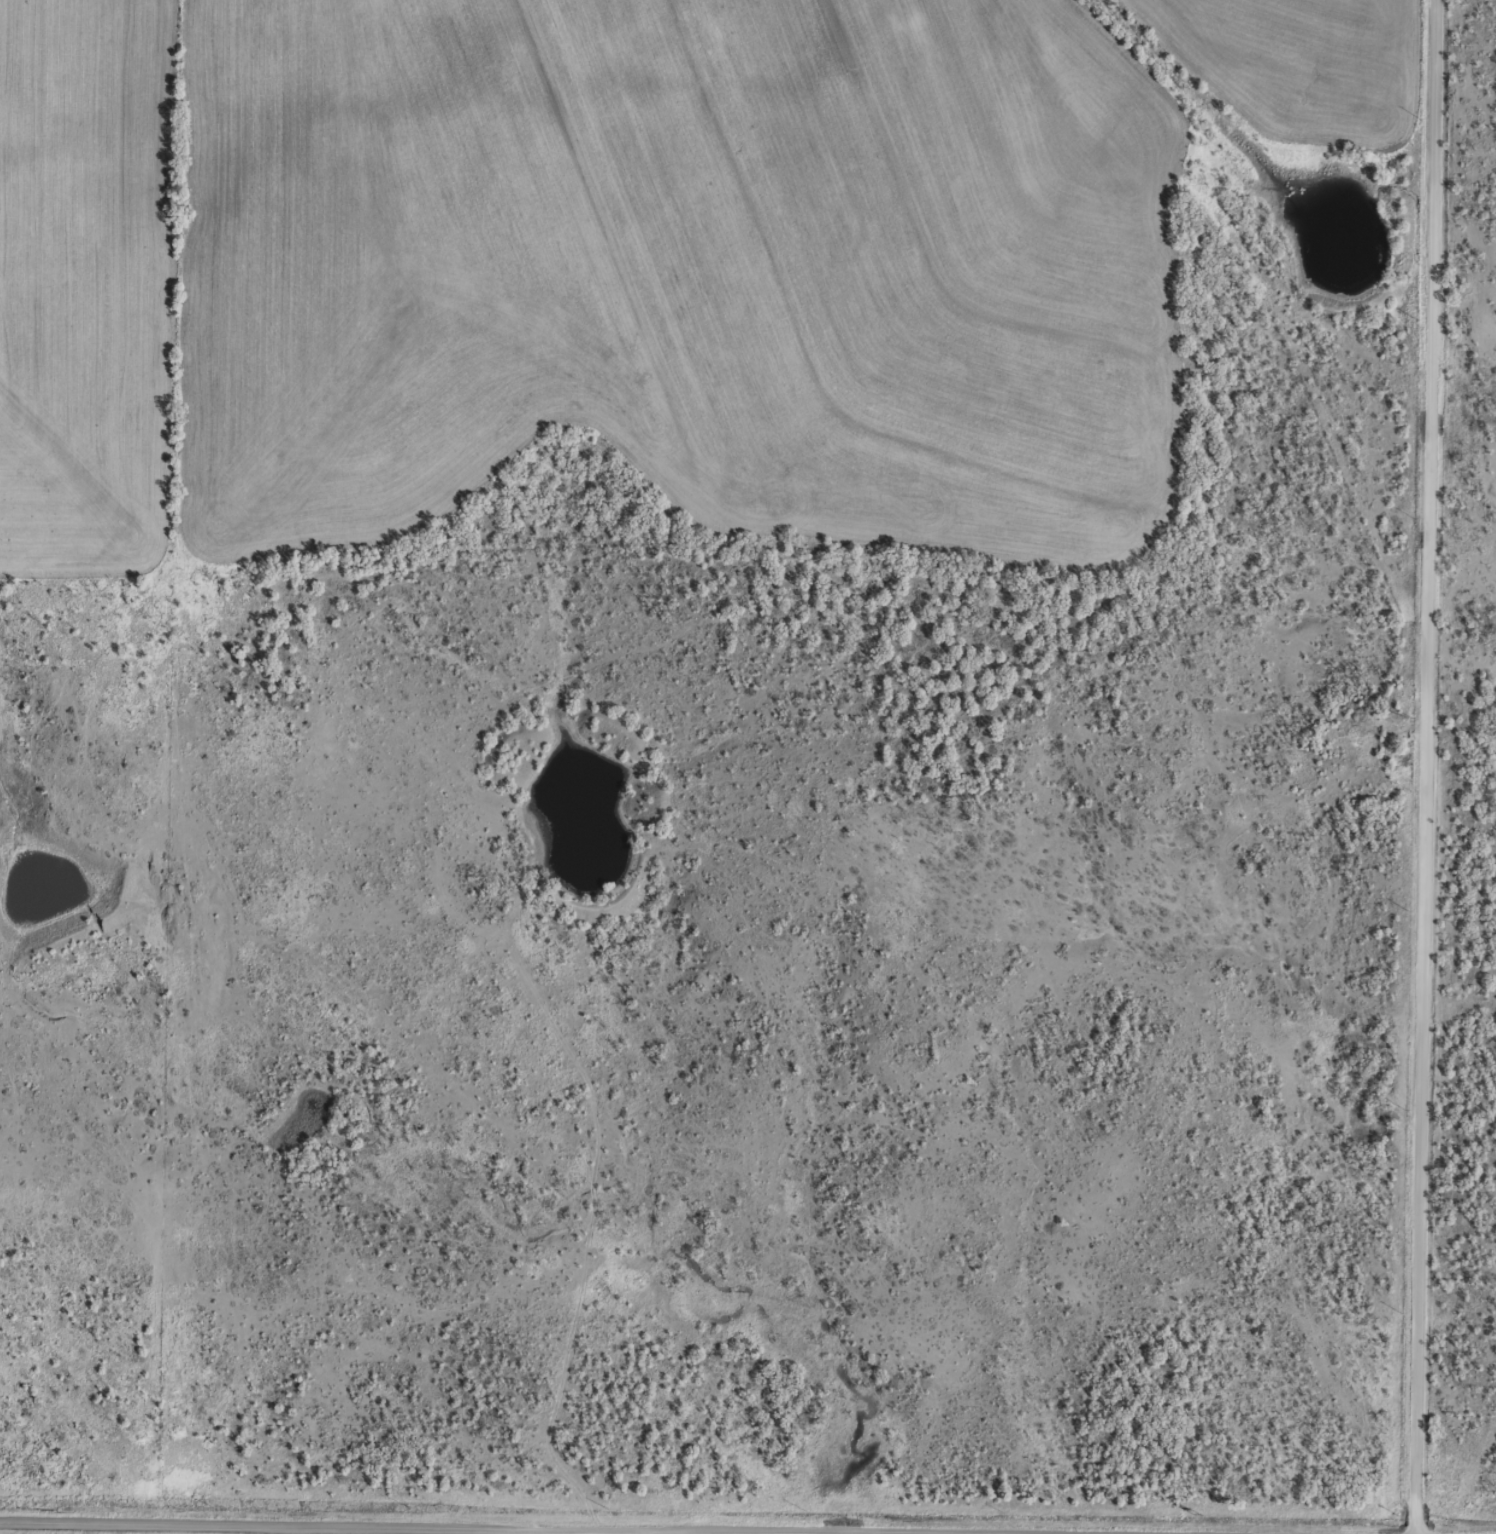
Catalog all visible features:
road: (1430, 767)
road: (5, 1522)
road: (448, 1530)

